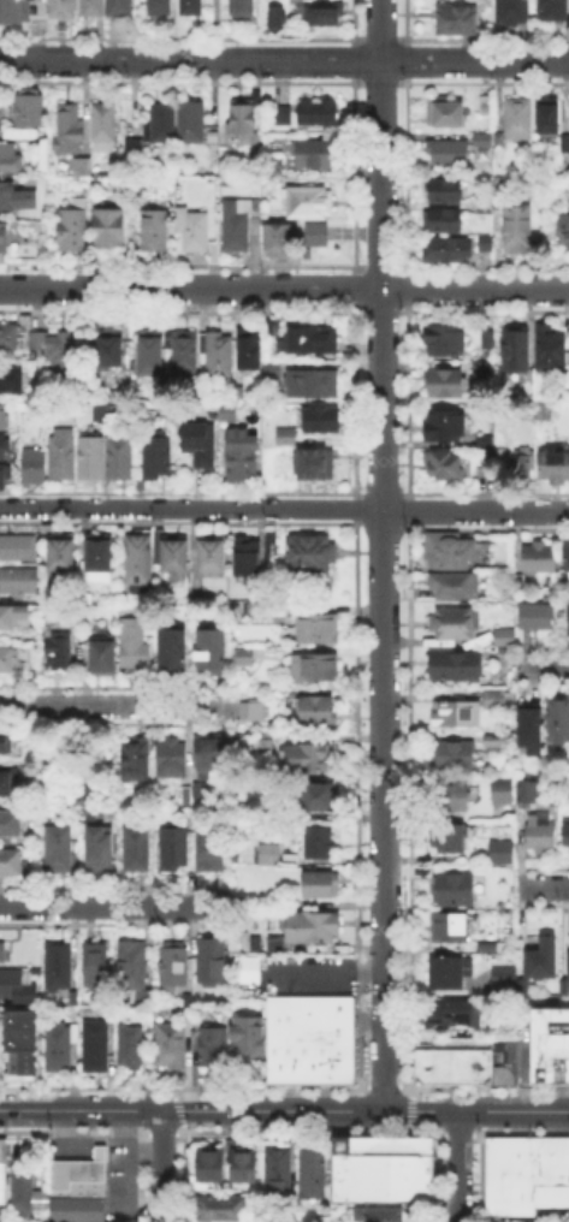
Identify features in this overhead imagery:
building: (192, 7)
building: (63, 8)
building: (93, 8)
building: (120, 8)
building: (159, 8)
building: (242, 8)
building: (38, 10)
building: (552, 11)
building: (11, 12)
building: (512, 12)
building: (273, 14)
building: (324, 16)
building: (457, 20)
road: (284, 61)
building: (488, 105)
building: (29, 109)
building: (313, 111)
building: (278, 113)
building: (446, 114)
building: (550, 118)
building: (192, 124)
building: (241, 124)
building: (161, 125)
building: (510, 127)
building: (106, 129)
building: (71, 130)
building: (217, 140)
building: (567, 144)
building: (135, 149)
building: (316, 154)
building: (449, 154)
building: (11, 160)
building: (273, 167)
building: (83, 173)
building: (500, 188)
building: (445, 192)
building: (12, 198)
building: (310, 203)
building: (485, 210)
building: (445, 220)
building: (239, 225)
building: (150, 229)
building: (109, 230)
building: (73, 231)
building: (518, 231)
building: (192, 232)
building: (564, 232)
building: (318, 236)
building: (4, 237)
building: (273, 238)
building: (487, 243)
building: (448, 250)
road: (284, 289)
building: (272, 332)
building: (10, 337)
building: (484, 338)
building: (313, 340)
building: (446, 342)
building: (552, 349)
building: (57, 350)
building: (516, 350)
building: (109, 351)
building: (186, 351)
building: (153, 354)
building: (250, 354)
building: (220, 357)
building: (485, 364)
building: (273, 370)
building: (12, 380)
building: (313, 385)
building: (446, 385)
building: (238, 396)
building: (109, 410)
building: (229, 414)
building: (544, 414)
building: (4, 419)
building: (324, 422)
building: (448, 426)
building: (286, 438)
building: (486, 440)
building: (200, 445)
building: (2, 447)
building: (65, 455)
building: (484, 456)
building: (93, 457)
building: (121, 458)
building: (158, 458)
building: (243, 458)
building: (496, 458)
building: (524, 464)
building: (314, 465)
building: (35, 467)
building: (443, 467)
building: (555, 467)
building: (5, 477)
road: (284, 509)
building: (272, 547)
building: (19, 550)
building: (450, 551)
building: (63, 552)
building: (101, 553)
building: (213, 554)
building: (312, 554)
road: (380, 554)
building: (177, 556)
building: (247, 558)
building: (568, 558)
building: (540, 559)
building: (138, 560)
building: (18, 580)
building: (455, 588)
building: (255, 611)
building: (567, 615)
building: (538, 617)
building: (11, 625)
building: (456, 625)
building: (318, 630)
building: (505, 640)
building: (135, 645)
building: (173, 648)
building: (212, 651)
building: (60, 652)
building: (105, 656)
building: (243, 658)
building: (10, 660)
road: (543, 665)
building: (456, 668)
building: (321, 669)
building: (496, 700)
road: (113, 704)
building: (253, 711)
building: (318, 711)
building: (460, 716)
building: (558, 722)
building: (532, 726)
building: (6, 741)
building: (206, 754)
building: (454, 757)
building: (173, 758)
building: (306, 758)
building: (135, 760)
building: (6, 783)
building: (504, 793)
building: (186, 796)
building: (324, 797)
building: (451, 800)
building: (522, 807)
building: (11, 825)
building: (541, 830)
building: (450, 840)
building: (567, 840)
building: (320, 843)
building: (137, 848)
building: (59, 849)
building: (174, 849)
building: (212, 849)
building: (100, 850)
building: (503, 853)
building: (268, 855)
building: (11, 864)
road: (543, 883)
building: (325, 885)
building: (457, 890)
road: (114, 906)
building: (307, 924)
building: (450, 929)
building: (251, 941)
building: (273, 943)
building: (2, 953)
building: (208, 957)
building: (545, 960)
building: (567, 962)
building: (97, 966)
building: (174, 966)
building: (59, 968)
road: (312, 968)
building: (136, 972)
parking lot: (290, 974)
building: (450, 974)
building: (505, 984)
building: (12, 985)
building: (524, 986)
building: (564, 986)
building: (457, 1014)
building: (307, 1015)
building: (244, 1034)
building: (57, 1042)
building: (168, 1042)
building: (128, 1043)
building: (18, 1044)
building: (93, 1044)
building: (549, 1044)
building: (209, 1045)
building: (451, 1050)
building: (275, 1060)
building: (297, 1060)
building: (330, 1060)
building: (431, 1070)
building: (461, 1070)
building: (473, 1070)
building: (485, 1070)
building: (502, 1073)
road: (284, 1110)
building: (362, 1151)
building: (390, 1151)
building: (417, 1151)
building: (496, 1159)
building: (527, 1159)
building: (551, 1159)
building: (563, 1159)
building: (239, 1161)
road: (161, 1165)
building: (205, 1165)
road: (457, 1165)
building: (1, 1169)
building: (275, 1171)
building: (309, 1171)
building: (374, 1179)
building: (76, 1188)
building: (24, 1191)
building: (522, 1197)
building: (221, 1206)
building: (375, 1212)

